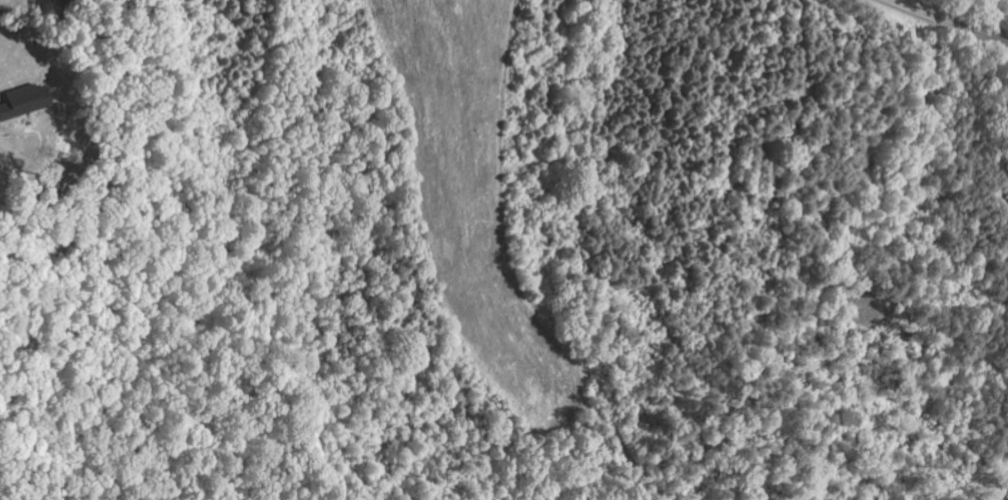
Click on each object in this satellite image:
road: (947, 22)
building: (26, 103)

